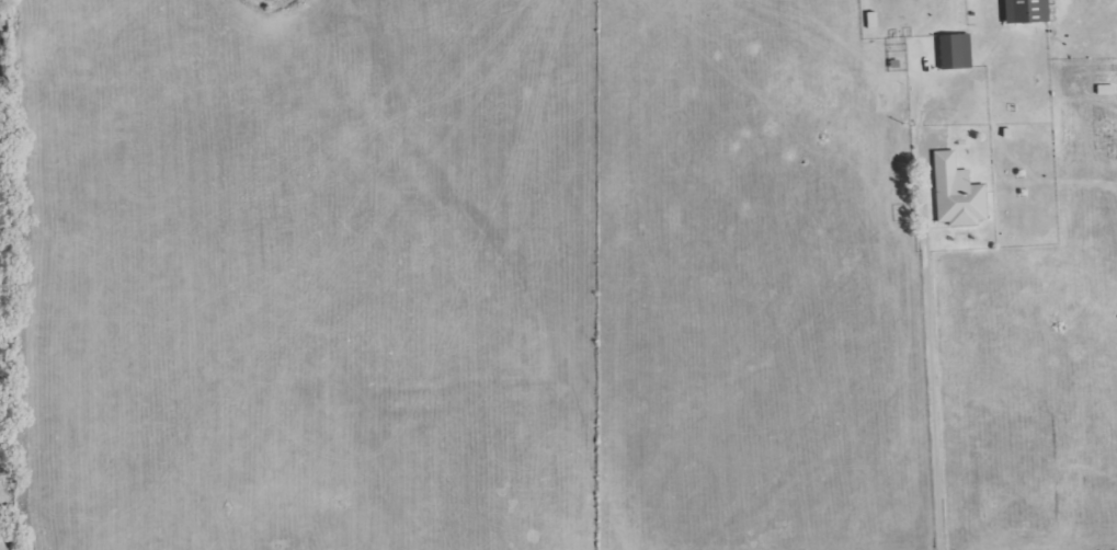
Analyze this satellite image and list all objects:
building: (1030, 11)
building: (959, 50)
building: (961, 193)
road: (927, 313)

